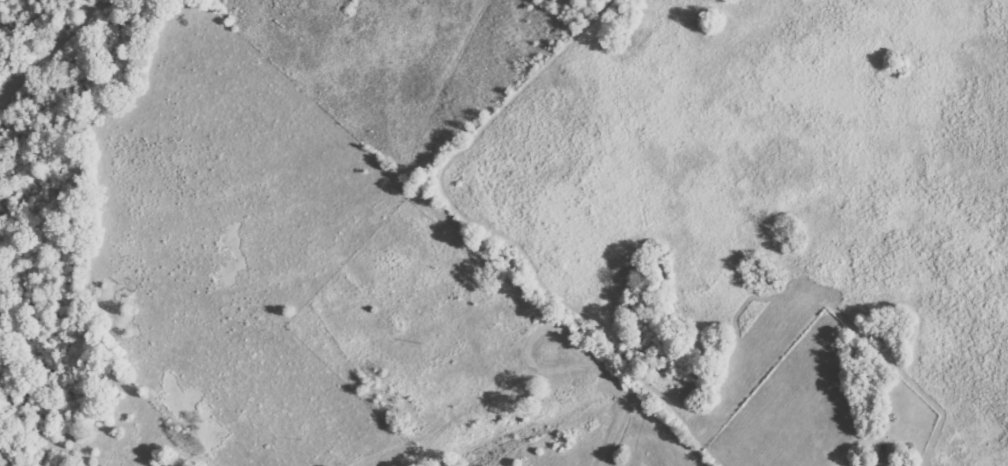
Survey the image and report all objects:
road: (980, 350)
road: (530, 376)
road: (691, 454)
building: (886, 464)

